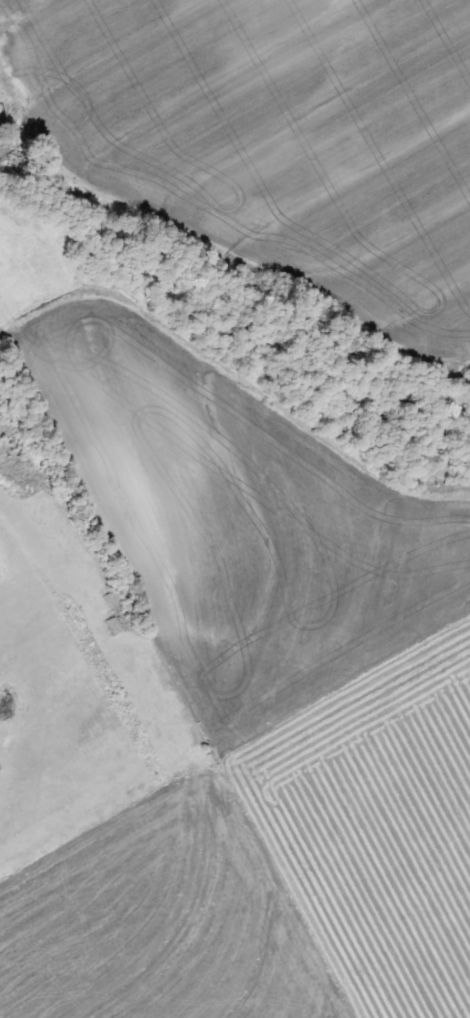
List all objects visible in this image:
crop: (273, 134)
crop: (253, 715)

